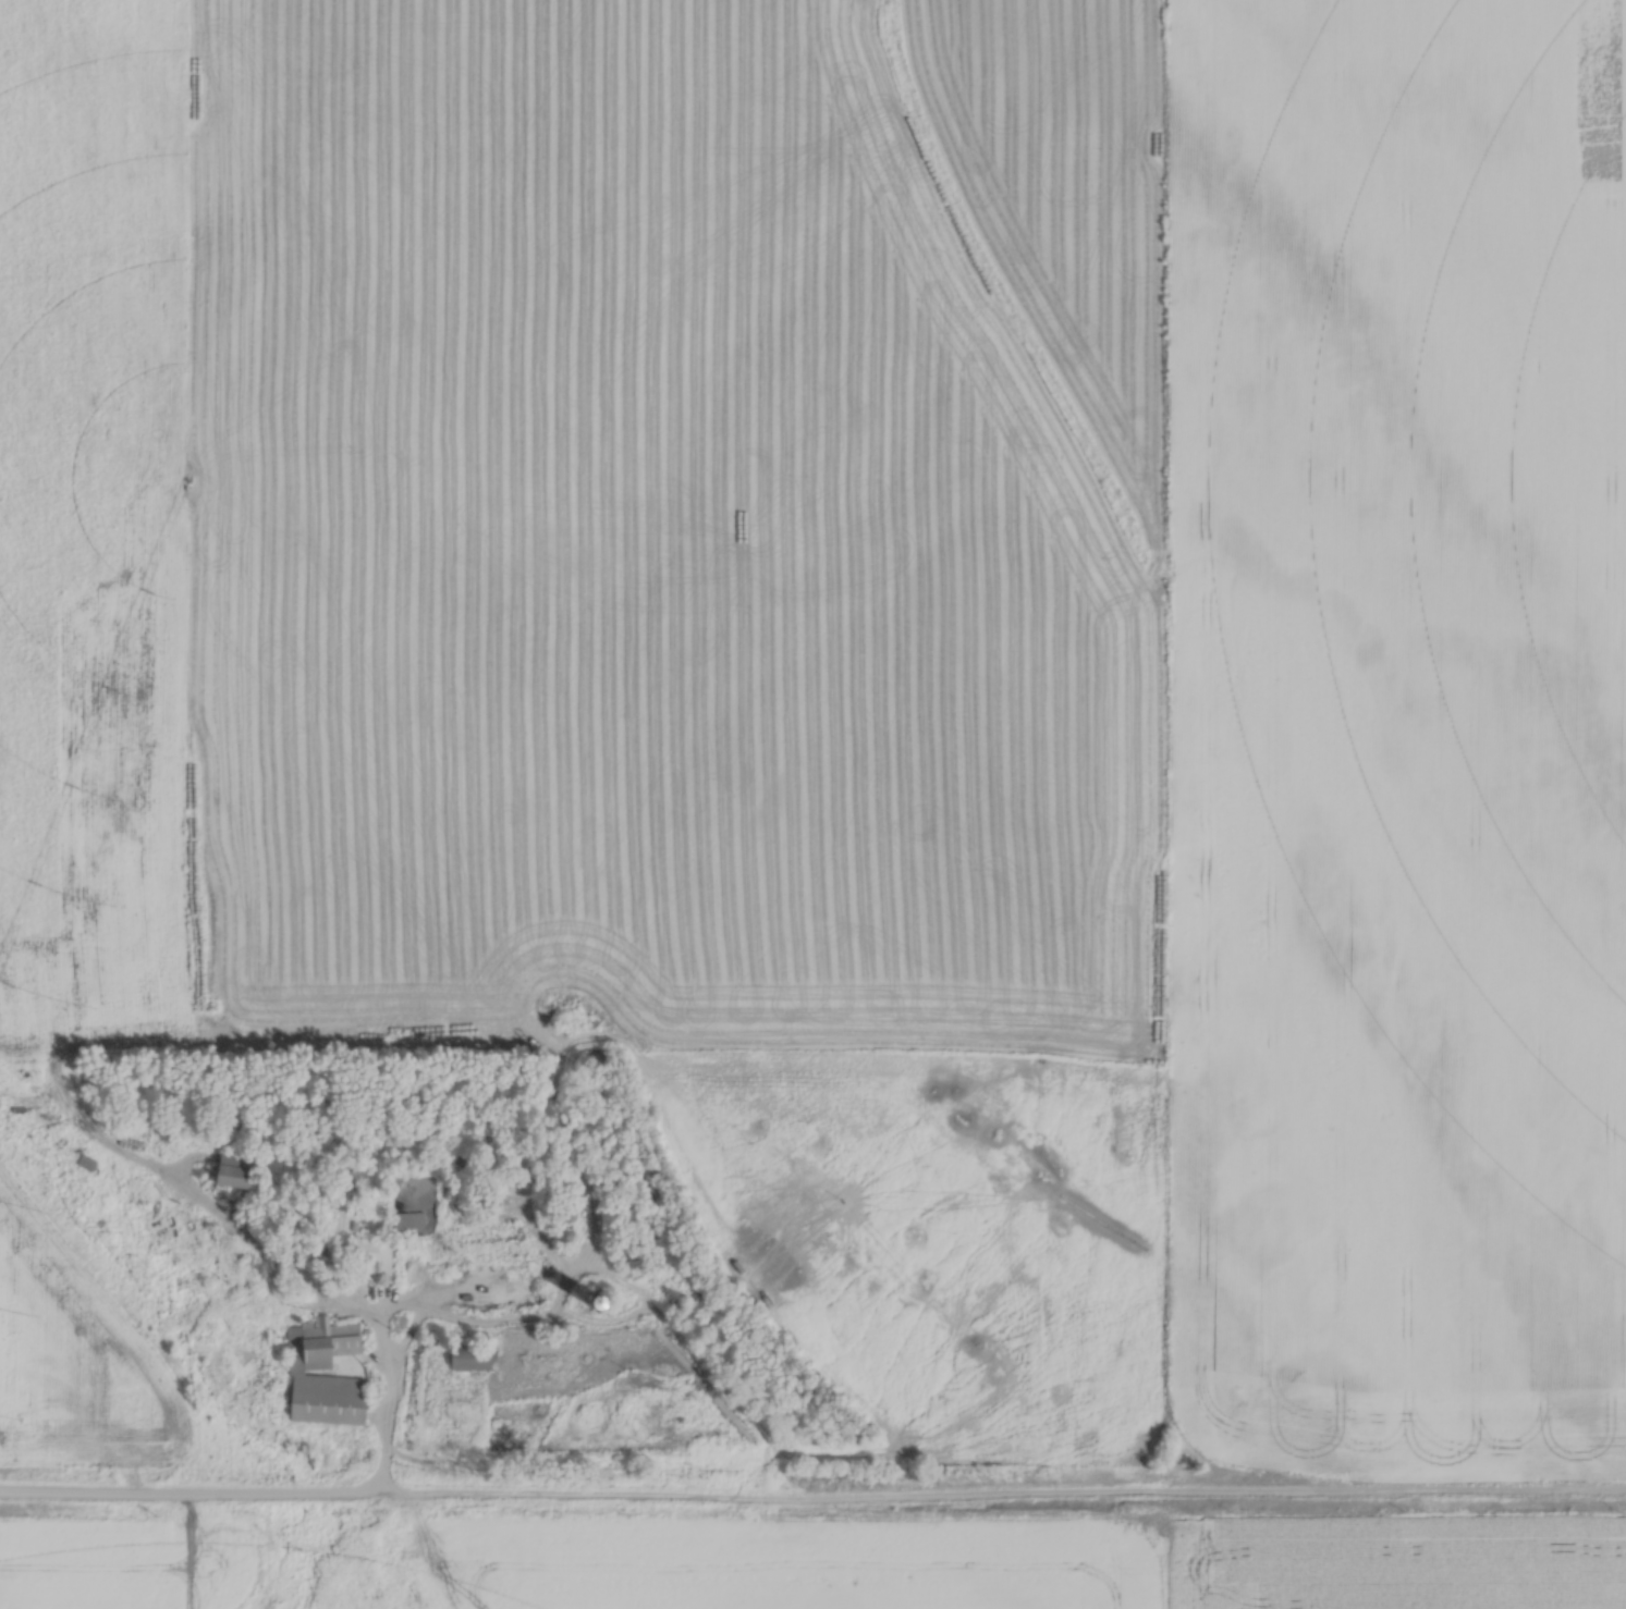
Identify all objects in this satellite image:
building: (133, 1175)
building: (413, 1219)
building: (504, 1231)
building: (377, 1258)
crop: (75, 1364)
road: (388, 1370)
building: (329, 1399)
road: (812, 1501)

